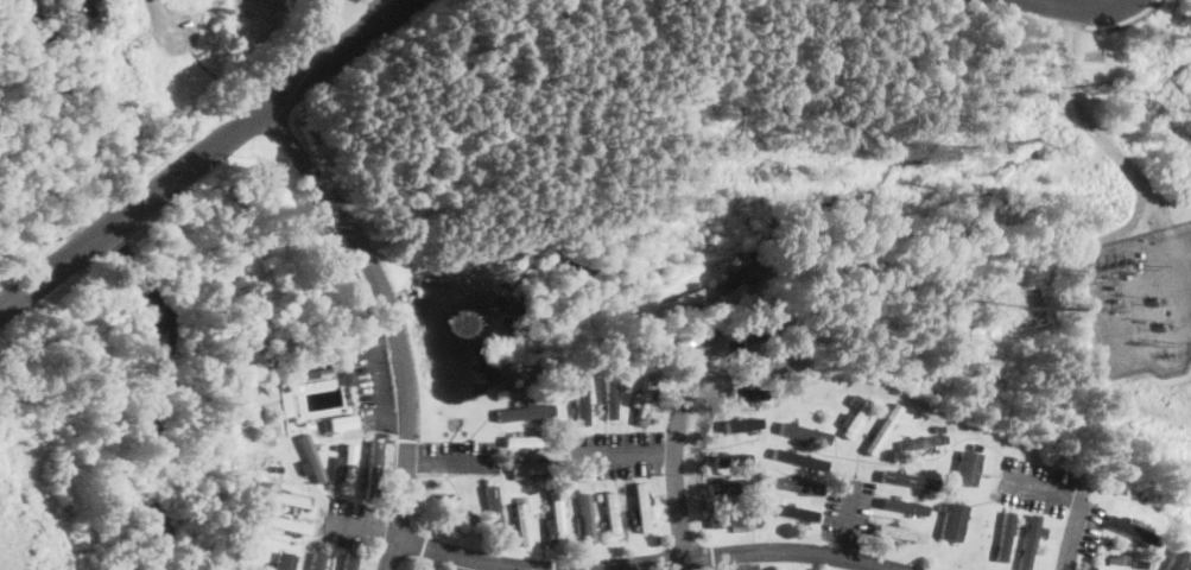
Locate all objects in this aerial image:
building: (66, 2)
road: (391, 6)
road: (1082, 7)
road: (1058, 25)
road: (365, 53)
road: (272, 101)
road: (113, 223)
building: (748, 254)
road: (45, 274)
building: (740, 277)
building: (679, 302)
road: (389, 304)
building: (756, 328)
building: (248, 346)
building: (768, 362)
building: (598, 363)
building: (311, 365)
building: (308, 375)
road: (376, 378)
building: (347, 379)
parking lot: (373, 382)
building: (610, 395)
building: (581, 399)
building: (853, 399)
building: (645, 401)
building: (522, 413)
building: (563, 419)
building: (856, 419)
building: (344, 422)
building: (741, 424)
building: (935, 429)
building: (882, 430)
building: (803, 432)
building: (525, 442)
building: (924, 444)
building: (976, 445)
building: (338, 446)
road: (676, 449)
parking lot: (616, 452)
road: (626, 454)
parking lot: (460, 455)
building: (312, 457)
building: (730, 458)
building: (800, 460)
road: (441, 461)
building: (374, 467)
building: (967, 467)
building: (277, 468)
building: (344, 468)
building: (527, 468)
building: (910, 481)
building: (727, 484)
building: (796, 484)
parking lot: (1035, 484)
road: (1045, 490)
building: (574, 493)
building: (518, 498)
building: (598, 498)
building: (286, 499)
building: (905, 505)
building: (640, 506)
building: (739, 507)
parking lot: (848, 507)
building: (940, 508)
building: (796, 512)
building: (451, 513)
building: (612, 513)
building: (494, 514)
building: (471, 518)
building: (585, 519)
building: (734, 519)
road: (847, 519)
building: (951, 520)
building: (1021, 521)
building: (557, 522)
building: (285, 524)
building: (241, 525)
parking lot: (354, 525)
building: (521, 525)
road: (365, 528)
building: (1040, 530)
building: (1129, 530)
road: (1076, 531)
building: (900, 532)
building: (1003, 537)
building: (1028, 541)
building: (1164, 549)
road: (734, 552)
road: (391, 553)
road: (469, 556)
building: (1176, 559)
building: (284, 560)
building: (315, 560)
road: (739, 560)
building: (353, 563)
building: (1115, 565)
parking lot: (740, 566)

